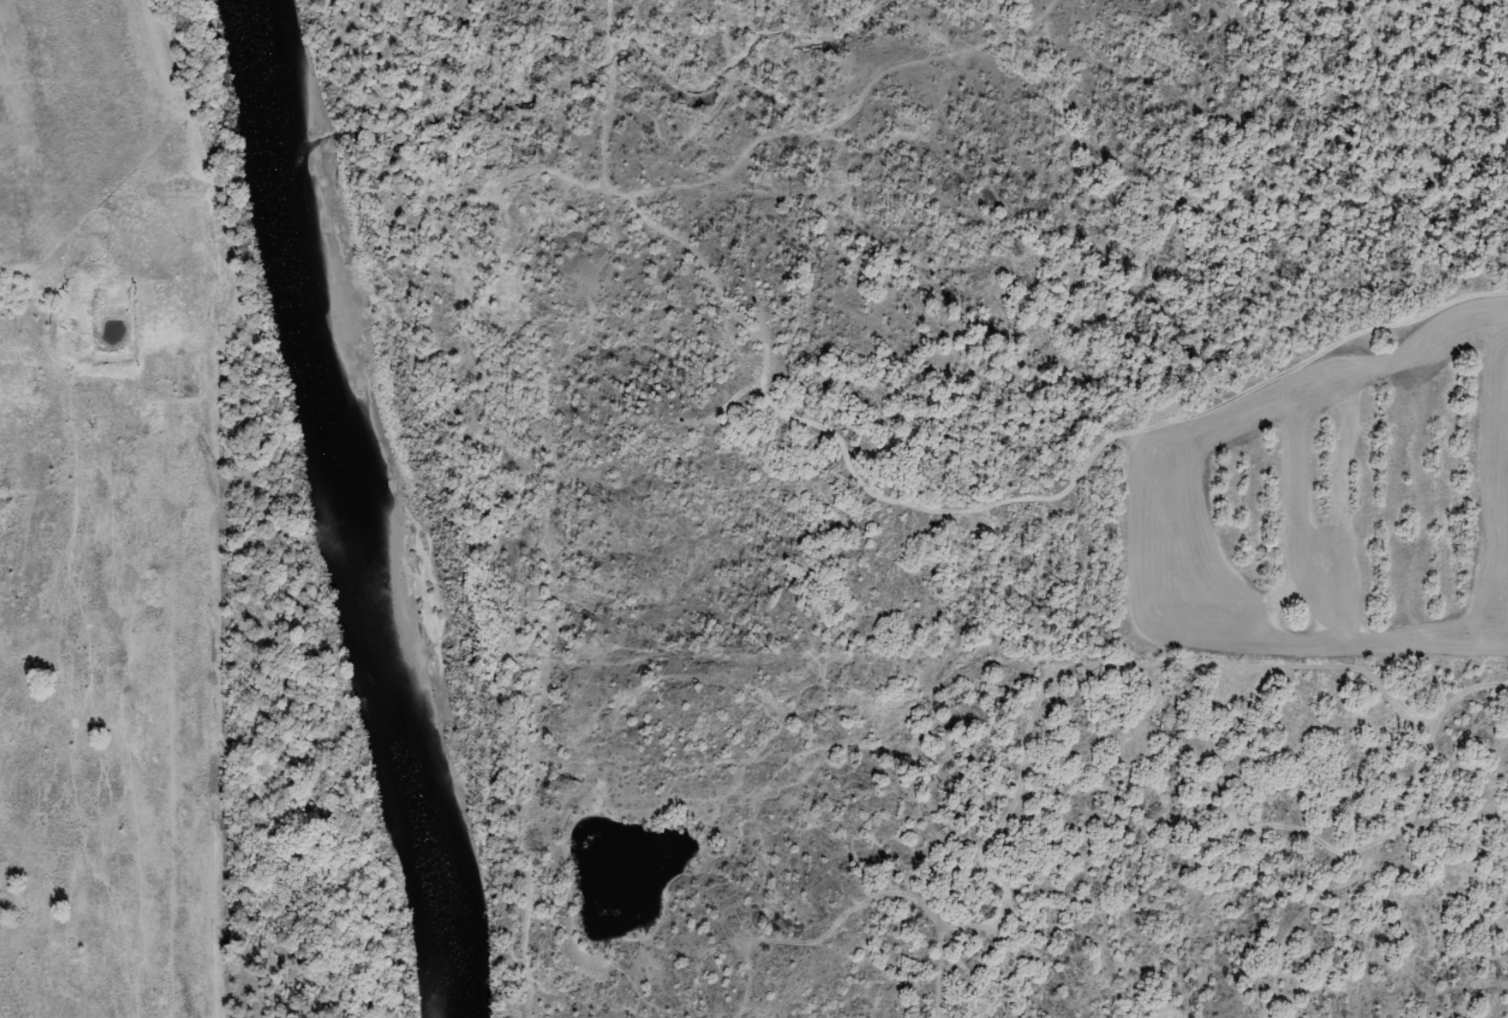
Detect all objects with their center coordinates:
river: (363, 507)
road: (1303, 805)

